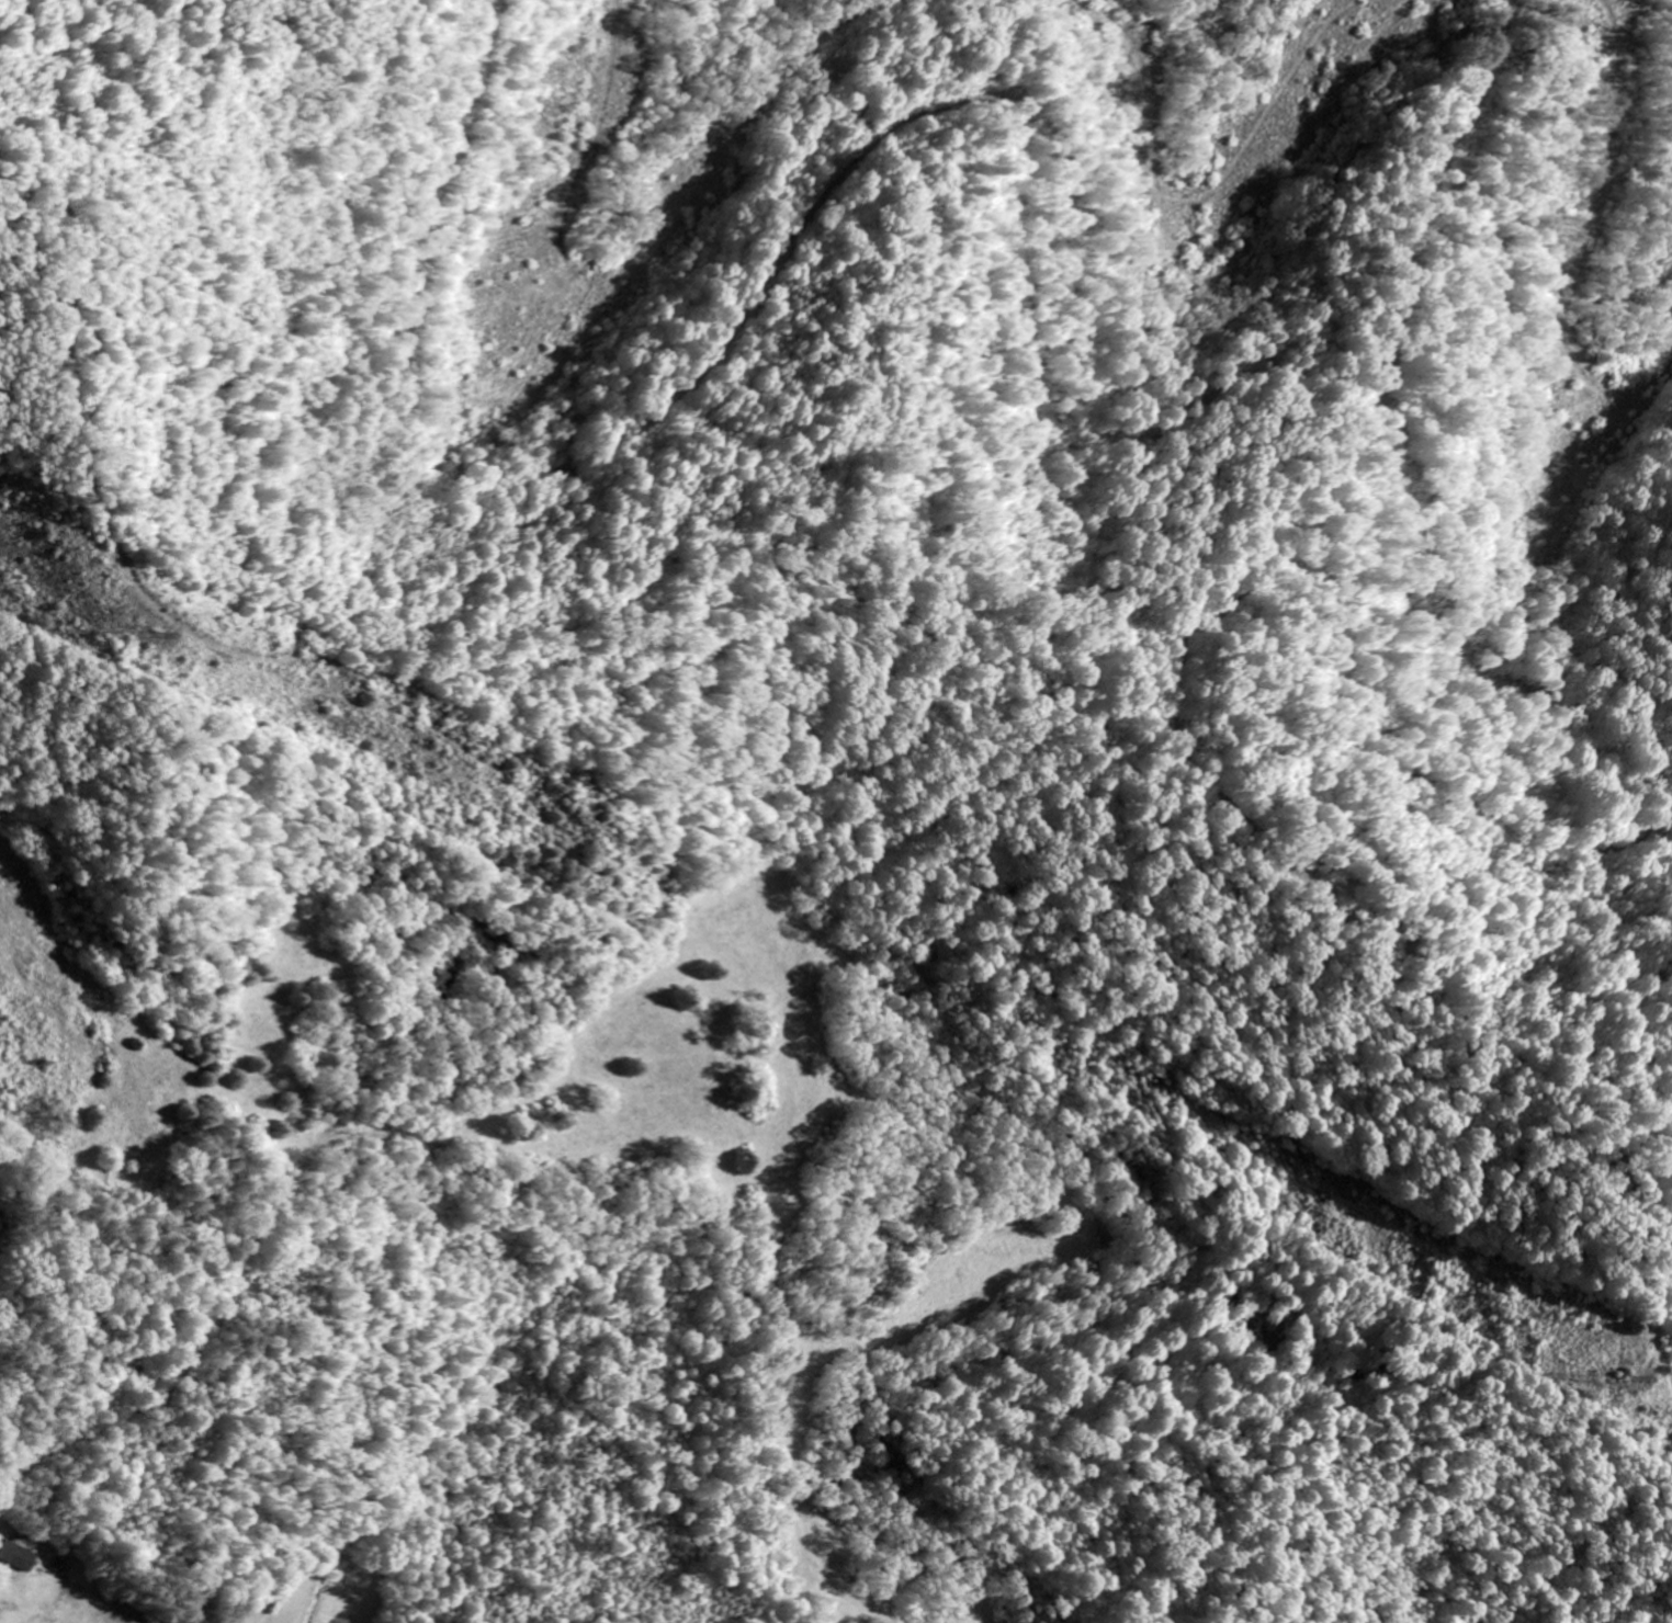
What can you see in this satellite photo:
power tower: (143, 639)
power tower: (1613, 1377)
building: (18, 1556)

